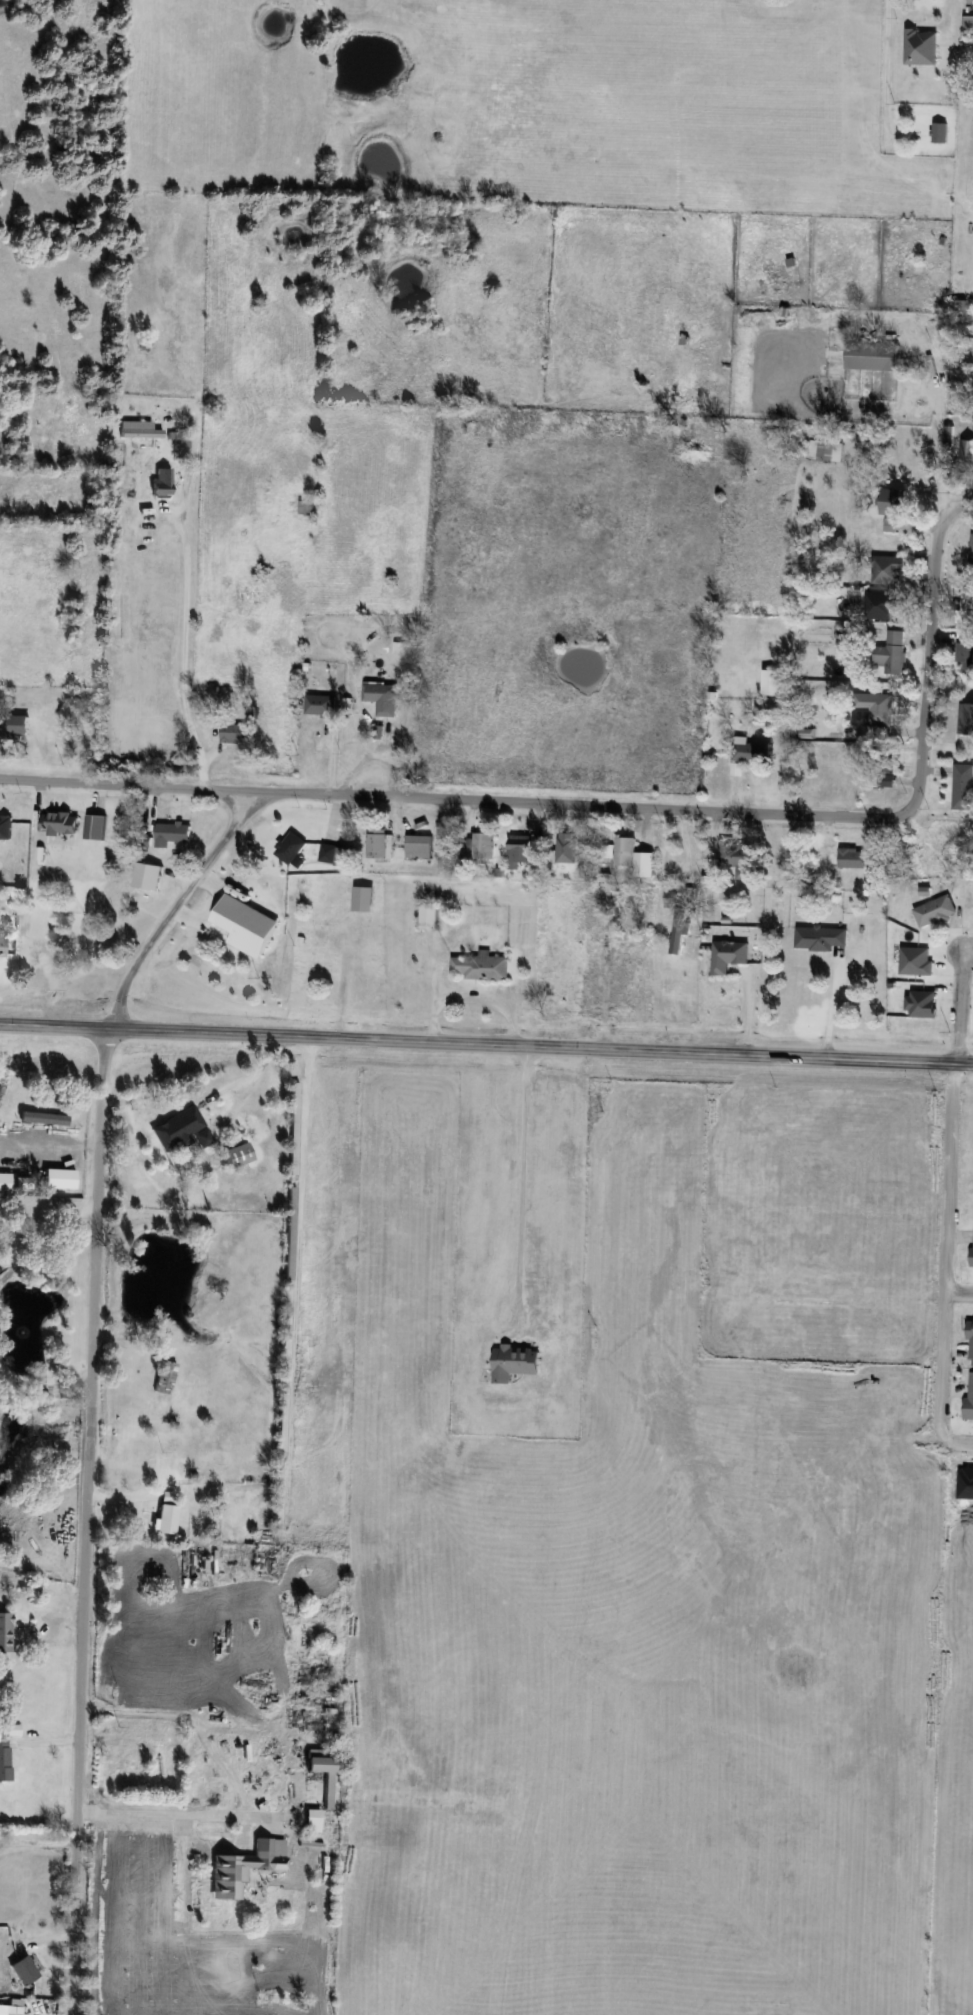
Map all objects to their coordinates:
building: (968, 24)
building: (923, 47)
building: (939, 133)
building: (960, 311)
building: (872, 356)
building: (139, 430)
building: (825, 451)
building: (162, 483)
building: (895, 502)
building: (306, 508)
building: (890, 526)
building: (971, 552)
building: (886, 570)
building: (884, 603)
building: (968, 606)
road: (188, 652)
building: (892, 653)
building: (965, 657)
building: (773, 682)
building: (382, 697)
building: (320, 705)
building: (876, 708)
building: (14, 725)
building: (228, 732)
building: (750, 752)
building: (963, 786)
road: (622, 808)
building: (59, 823)
building: (172, 832)
building: (378, 844)
road: (689, 845)
building: (418, 846)
building: (484, 846)
building: (565, 847)
building: (292, 849)
building: (519, 850)
building: (625, 850)
building: (328, 853)
building: (853, 857)
building: (737, 858)
road: (174, 907)
building: (935, 911)
building: (429, 915)
building: (630, 924)
building: (252, 925)
building: (678, 936)
building: (820, 937)
building: (324, 939)
building: (2, 946)
building: (728, 955)
building: (480, 967)
road: (837, 1005)
road: (390, 1040)
road: (876, 1059)
road: (308, 1109)
building: (182, 1130)
building: (239, 1155)
road: (525, 1172)
building: (4, 1183)
road: (946, 1208)
road: (49, 1241)
road: (958, 1291)
building: (970, 1342)
building: (514, 1362)
building: (165, 1378)
building: (969, 1396)
building: (167, 1519)
road: (87, 1522)
building: (6, 1633)
building: (5, 1761)
building: (323, 1770)
road: (163, 1813)
building: (313, 1821)
road: (38, 1838)
building: (246, 1868)
building: (13, 2010)

